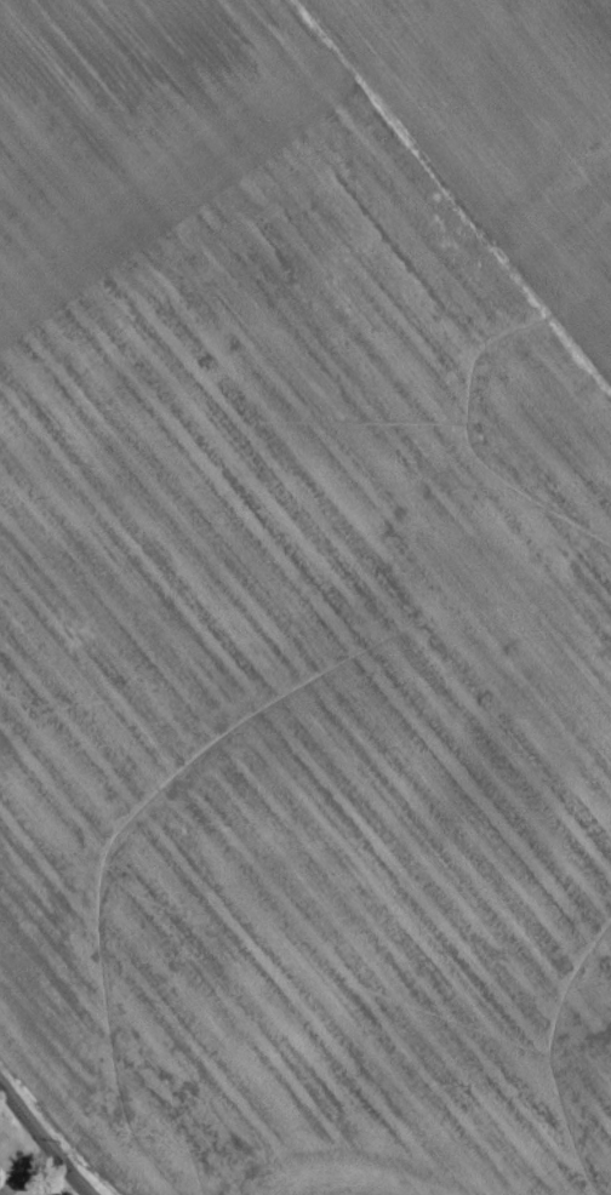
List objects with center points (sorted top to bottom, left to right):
road: (41, 1143)

